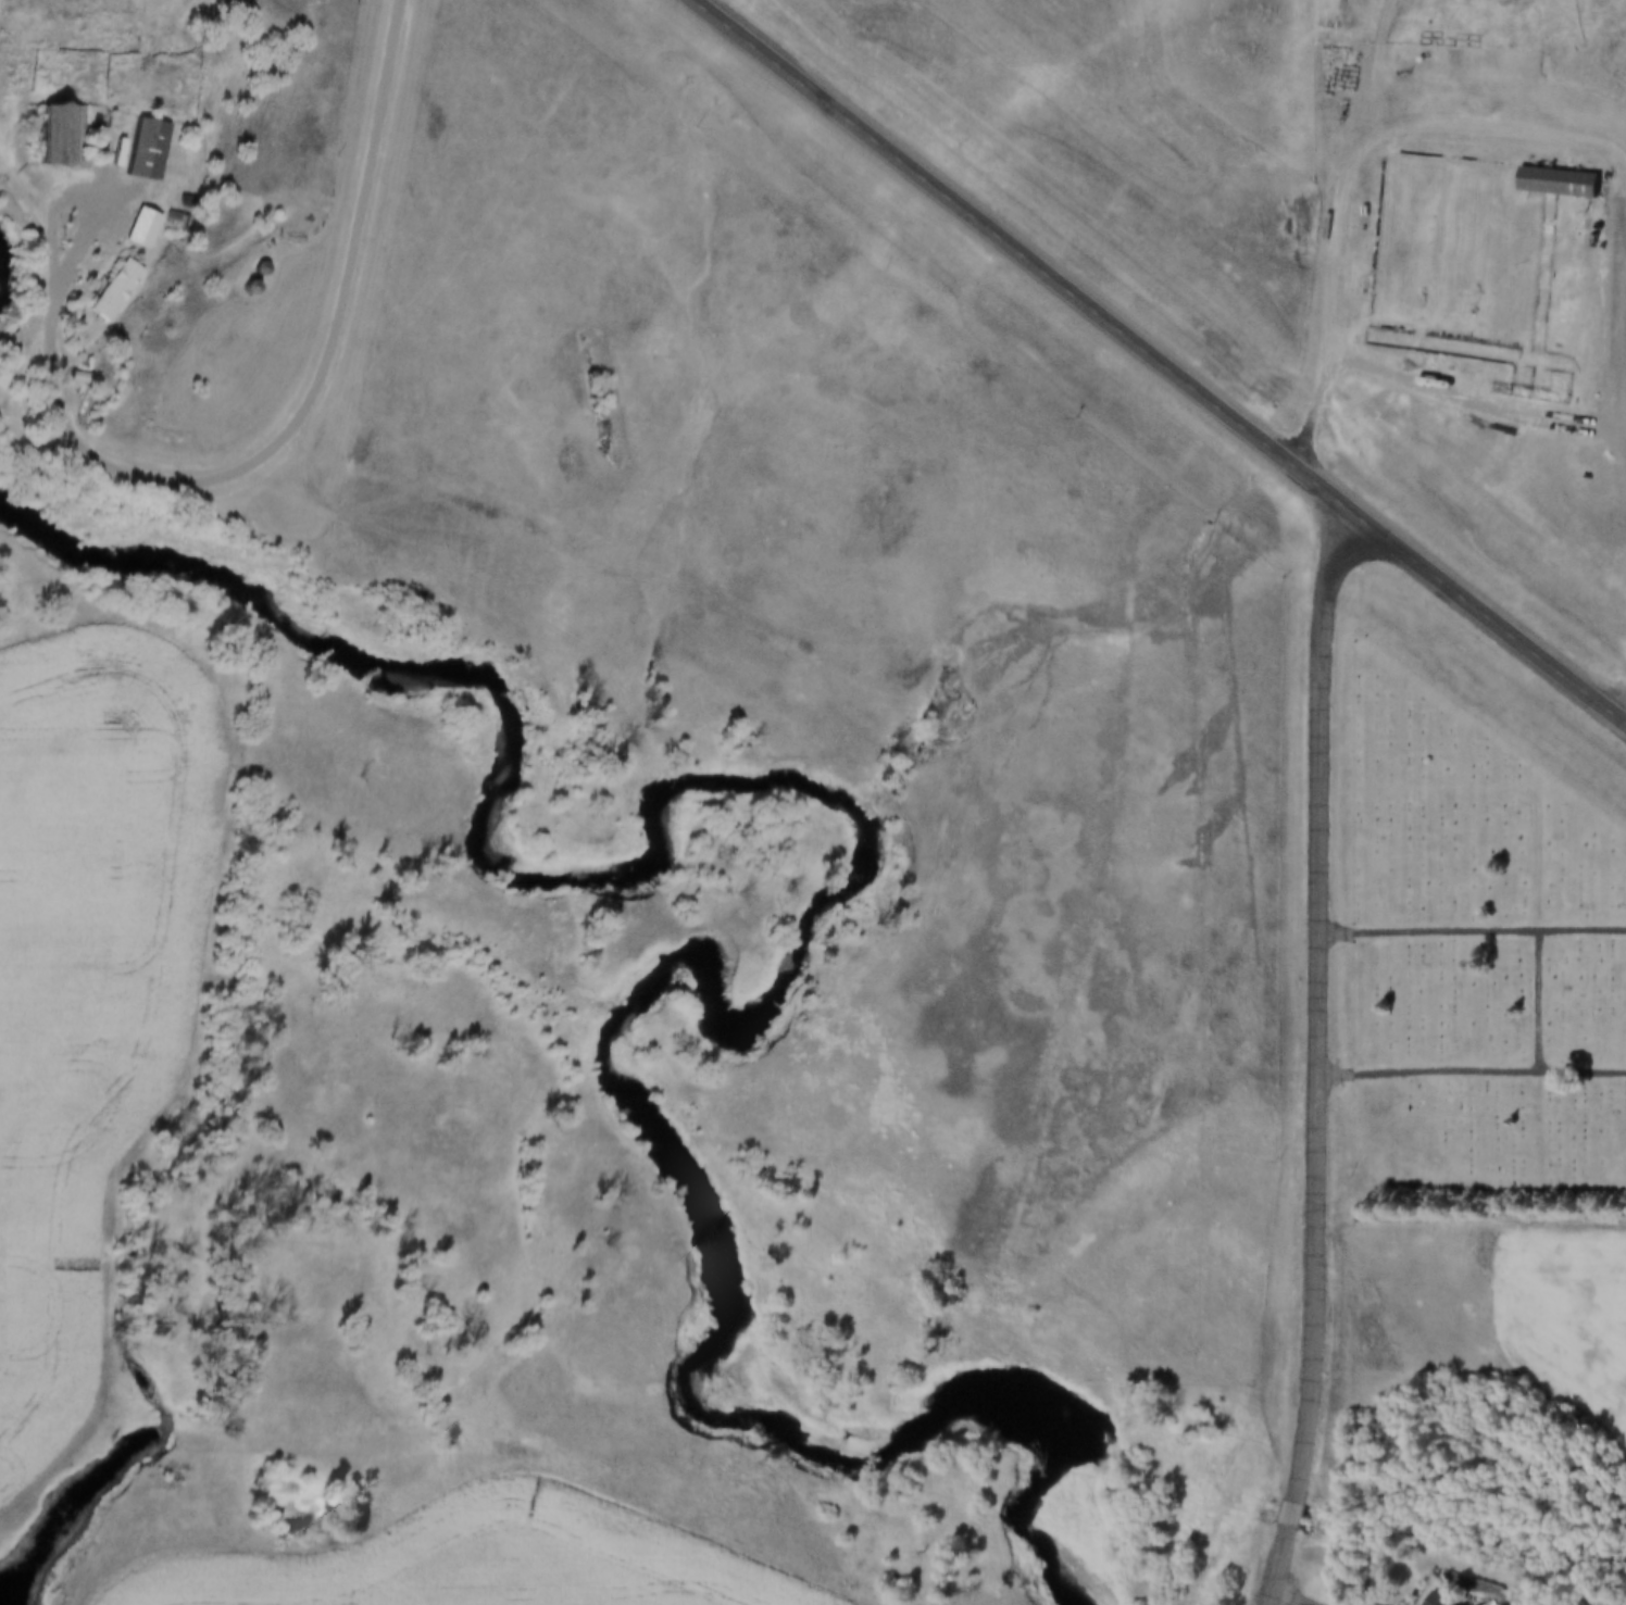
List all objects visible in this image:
building: (1409, 54)
silo: (1409, 54)
building: (48, 131)
building: (142, 146)
road: (1354, 173)
building: (1547, 183)
road: (93, 197)
building: (139, 225)
building: (259, 264)
building: (251, 268)
silo: (251, 268)
building: (110, 288)
building: (237, 289)
silo: (237, 289)
river: (5, 291)
building: (1353, 293)
silo: (1353, 293)
road: (1161, 355)
building: (68, 375)
road: (1476, 403)
road: (311, 411)
road: (798, 637)
building: (1043, 731)
road: (1474, 931)
river: (826, 933)
park: (1478, 968)
road: (1543, 1002)
road: (1322, 1003)
road: (1473, 1073)
road: (429, 1140)
road: (307, 1315)
road: (674, 1513)
road: (1301, 1515)
road: (1288, 1567)
road: (1296, 1594)
building: (1427, 1600)
road: (1310, 1603)
road: (1314, 1603)
building: (1461, 1604)

